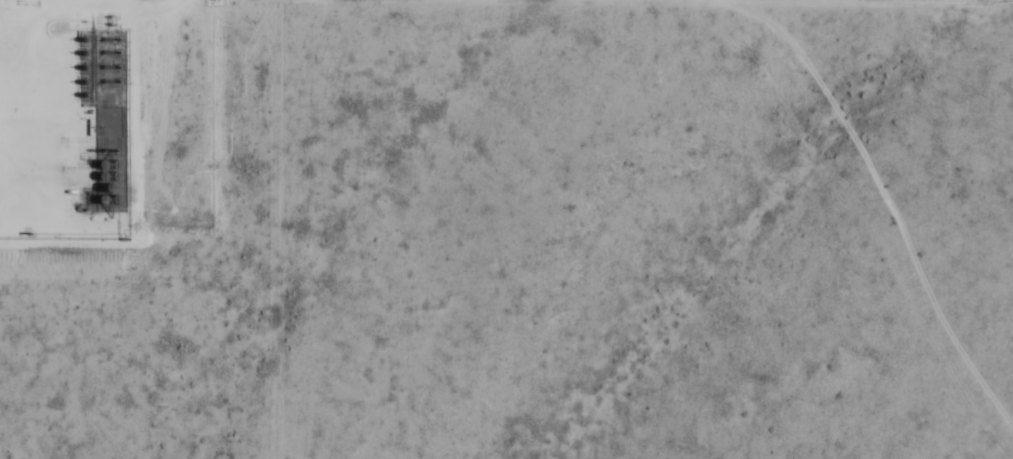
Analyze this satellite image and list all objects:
road: (70, 7)

